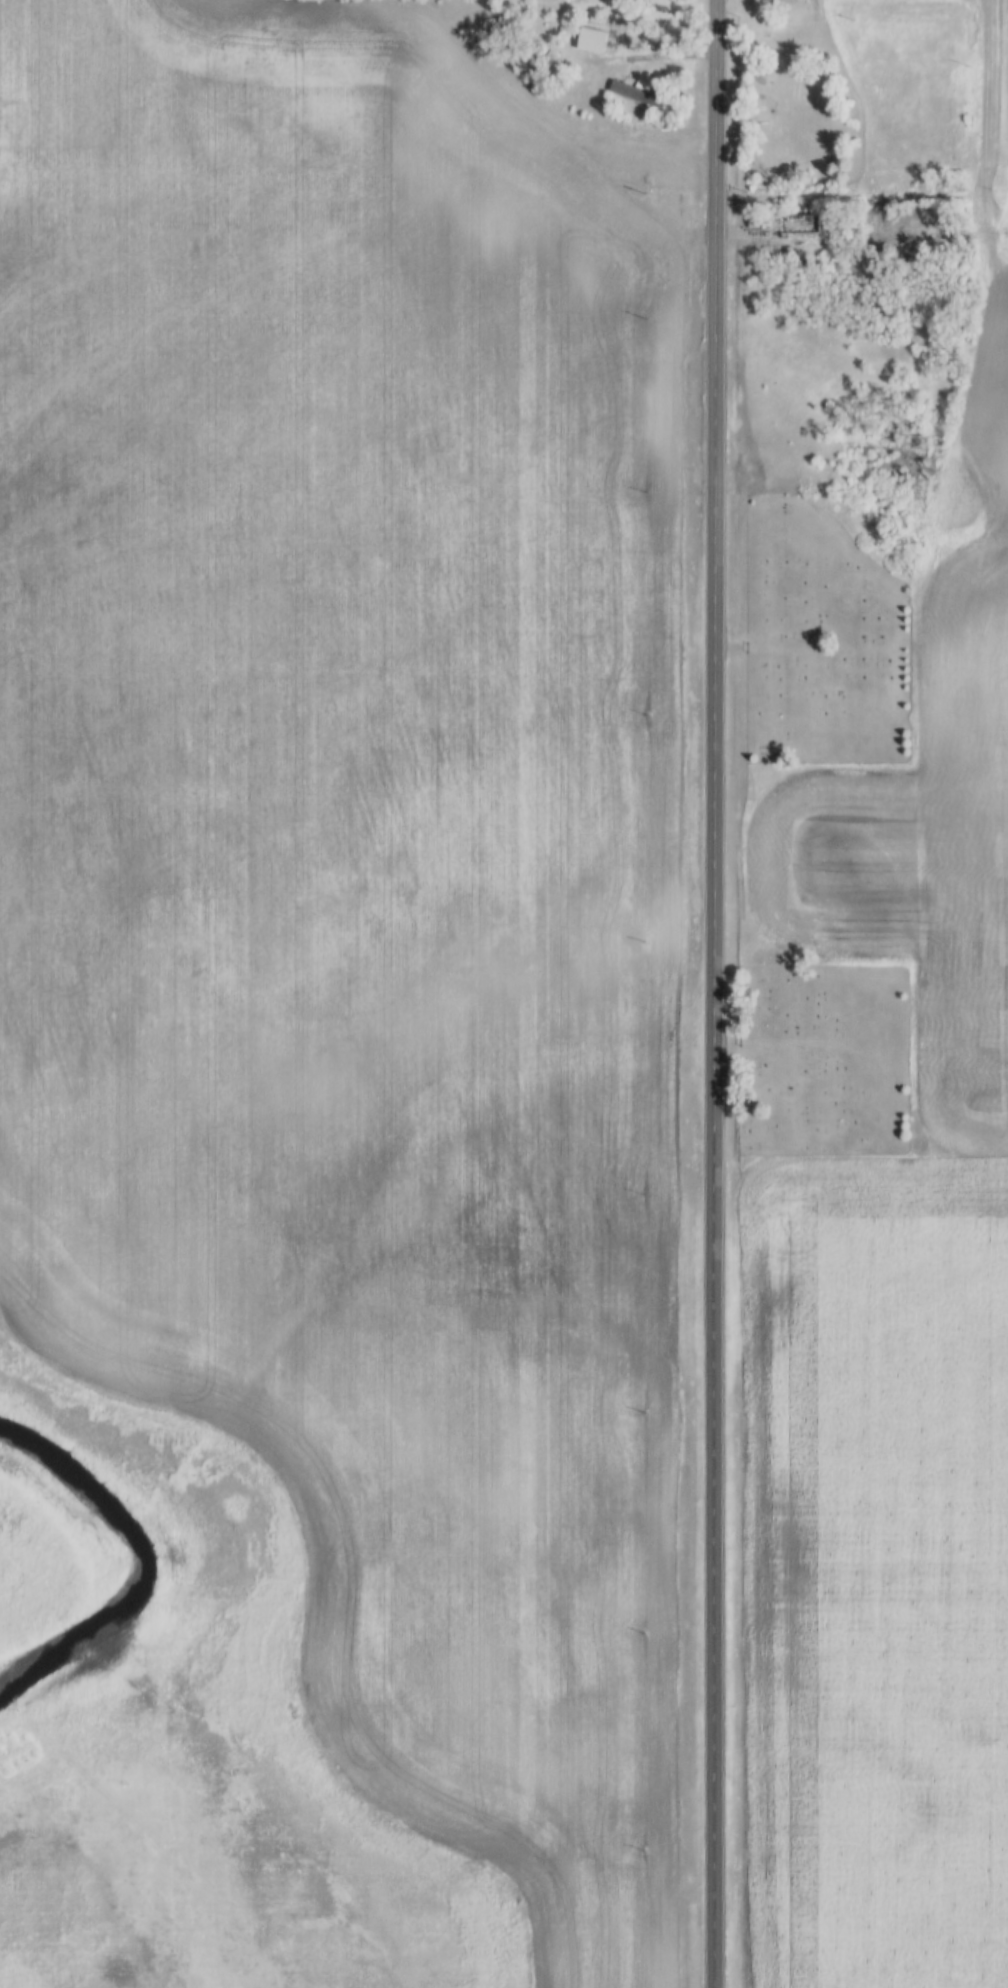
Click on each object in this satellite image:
building: (597, 20)
building: (594, 41)
building: (641, 94)
road: (992, 102)
road: (859, 203)
building: (804, 223)
road: (723, 595)
park: (820, 641)
park: (826, 1059)
river: (126, 1574)
road: (722, 1589)

